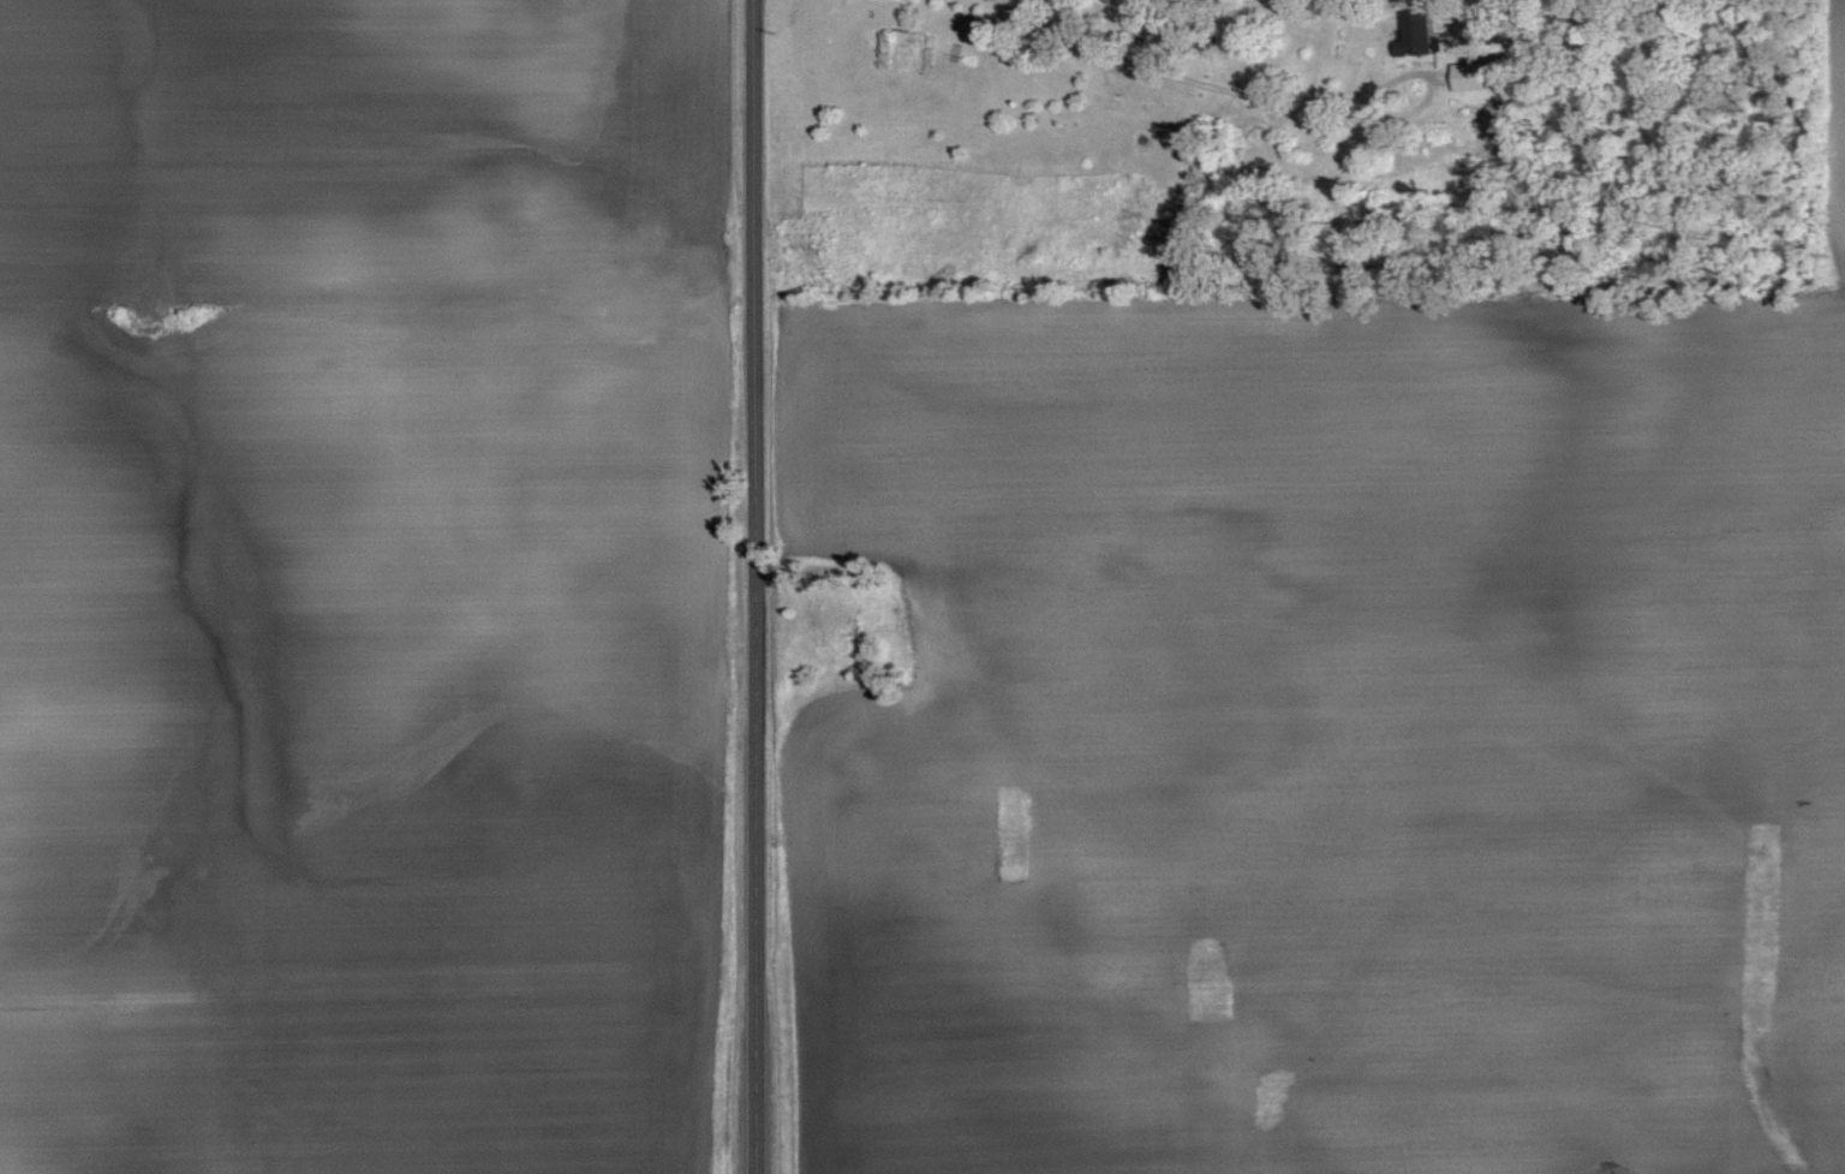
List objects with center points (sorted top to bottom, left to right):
building: (1414, 34)
road: (1172, 72)
building: (1468, 76)
road: (1435, 82)
road: (751, 586)

